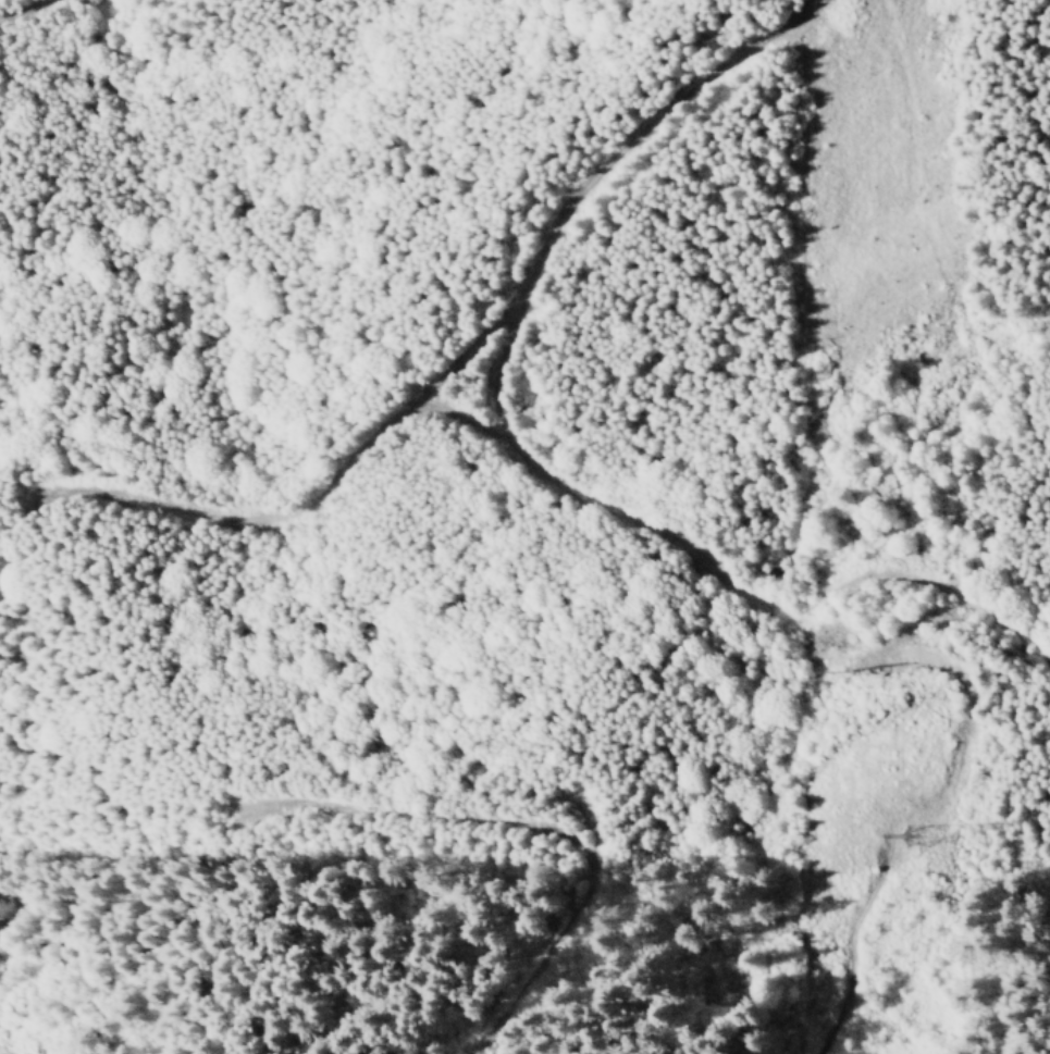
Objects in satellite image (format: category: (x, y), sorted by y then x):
power tower: (810, 672)
power tower: (910, 836)

